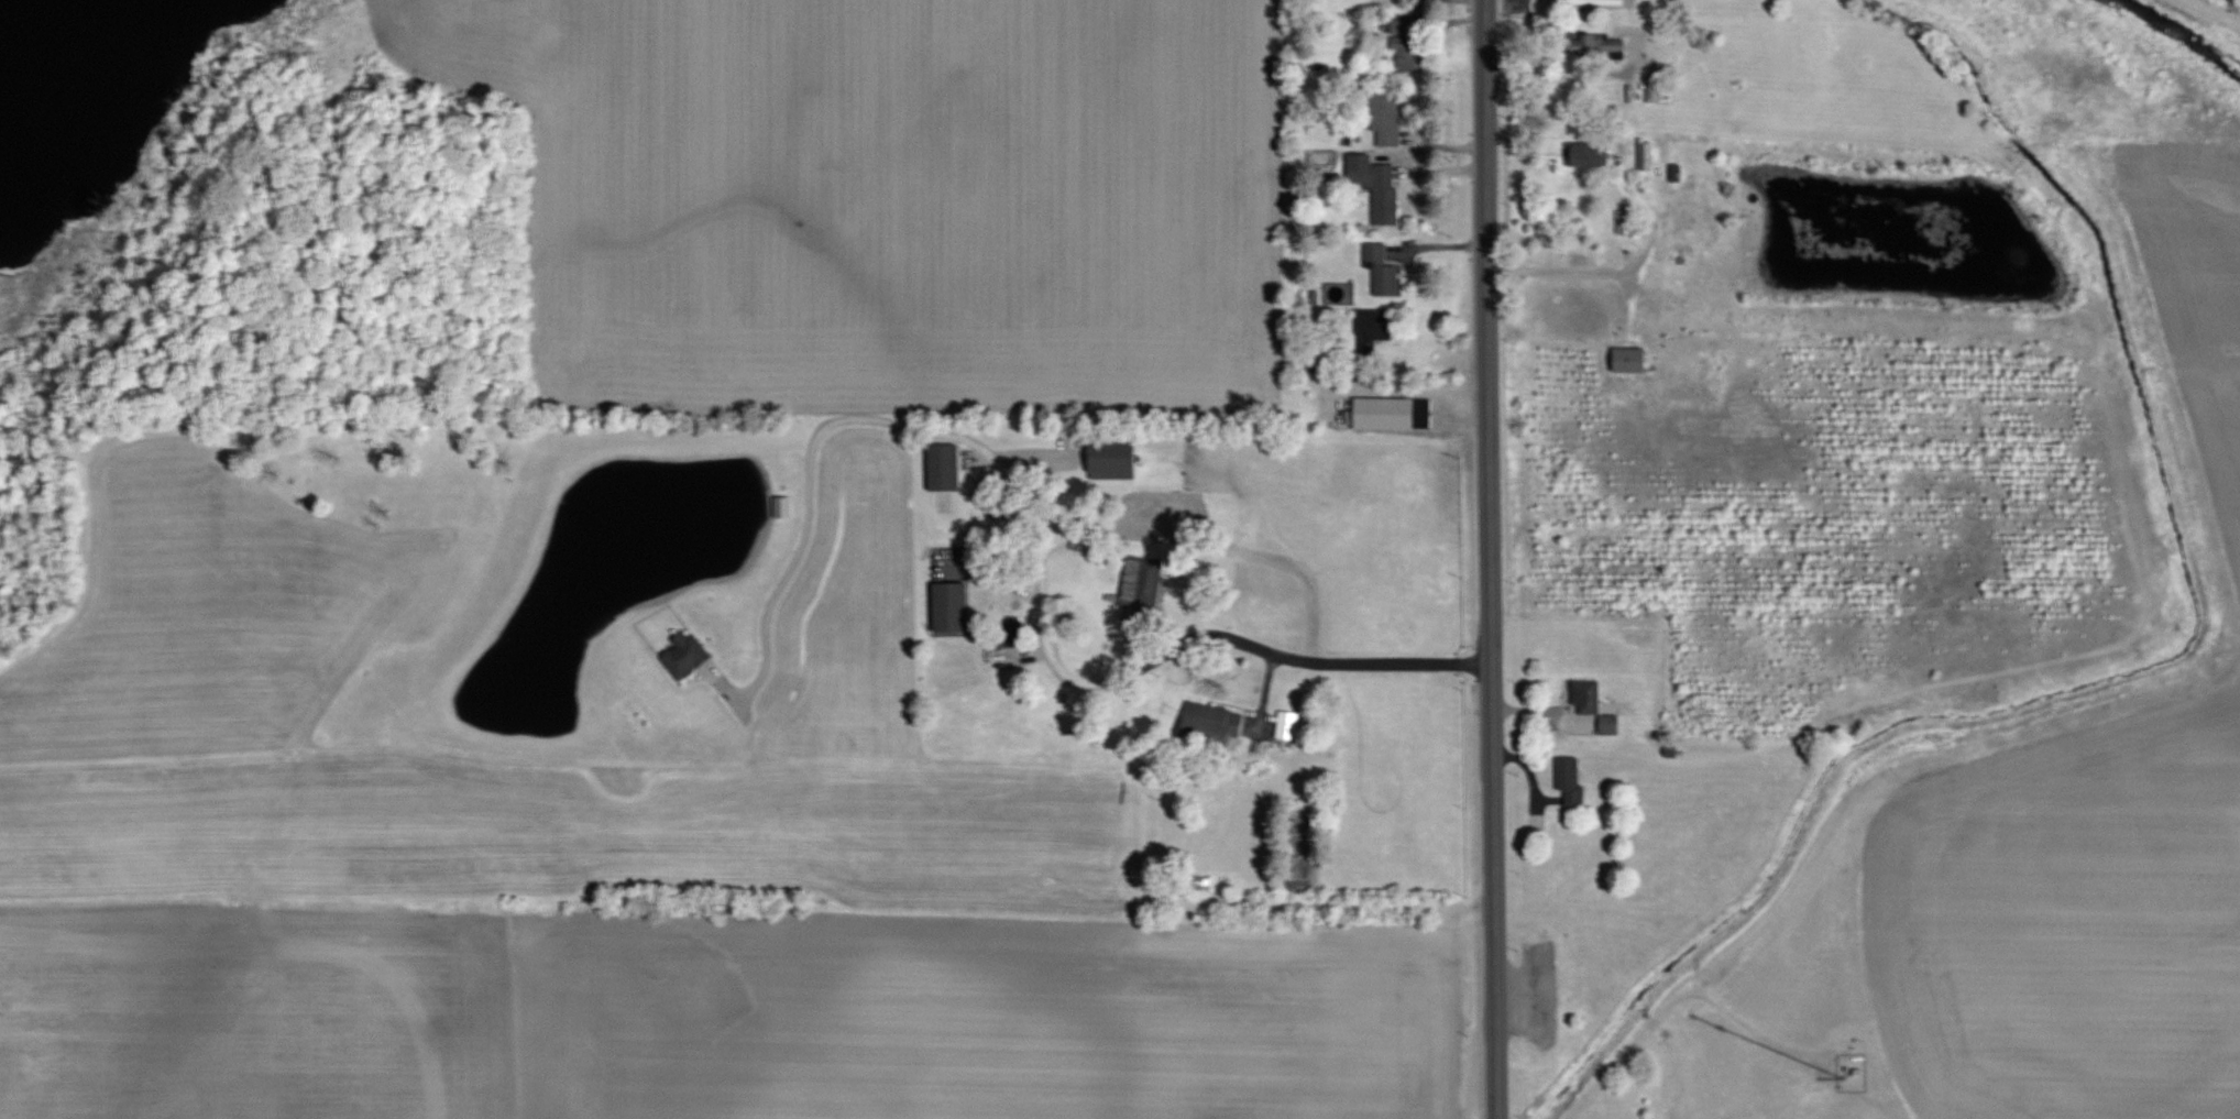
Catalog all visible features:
building: (1409, 22)
building: (1608, 46)
building: (1409, 54)
road: (1566, 73)
building: (1592, 154)
building: (1648, 156)
building: (1379, 187)
building: (1628, 222)
road: (1608, 270)
building: (1383, 271)
building: (1375, 329)
building: (1634, 359)
building: (1395, 413)
road: (816, 430)
building: (1116, 459)
building: (945, 467)
building: (784, 505)
road: (1484, 559)
building: (1143, 581)
airport runway: (864, 593)
building: (953, 605)
road: (1221, 633)
building: (685, 654)
building: (1589, 696)
airport runway: (303, 706)
building: (1215, 720)
building: (1612, 724)
building: (1573, 779)

